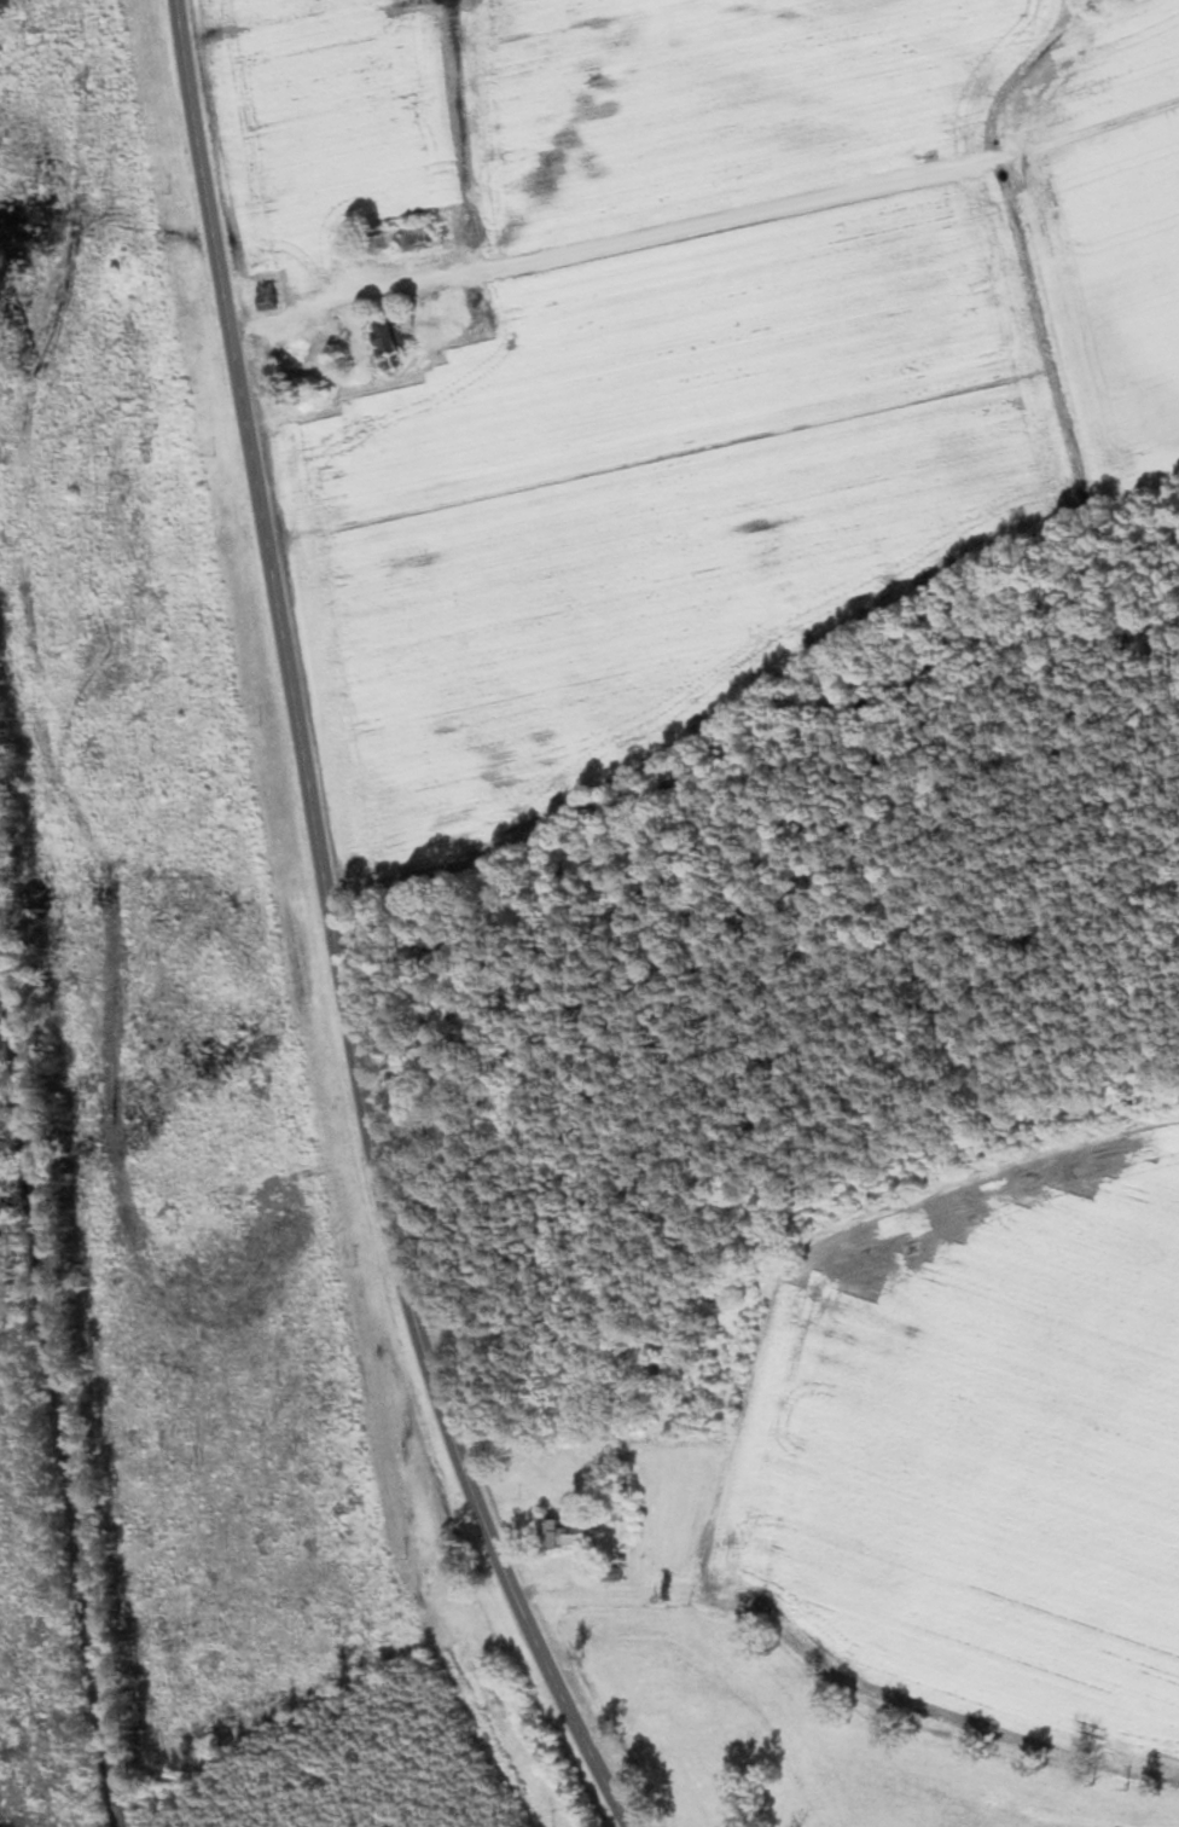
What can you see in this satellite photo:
road: (705, 224)
road: (333, 933)
railway: (59, 1387)
road: (841, 1682)

